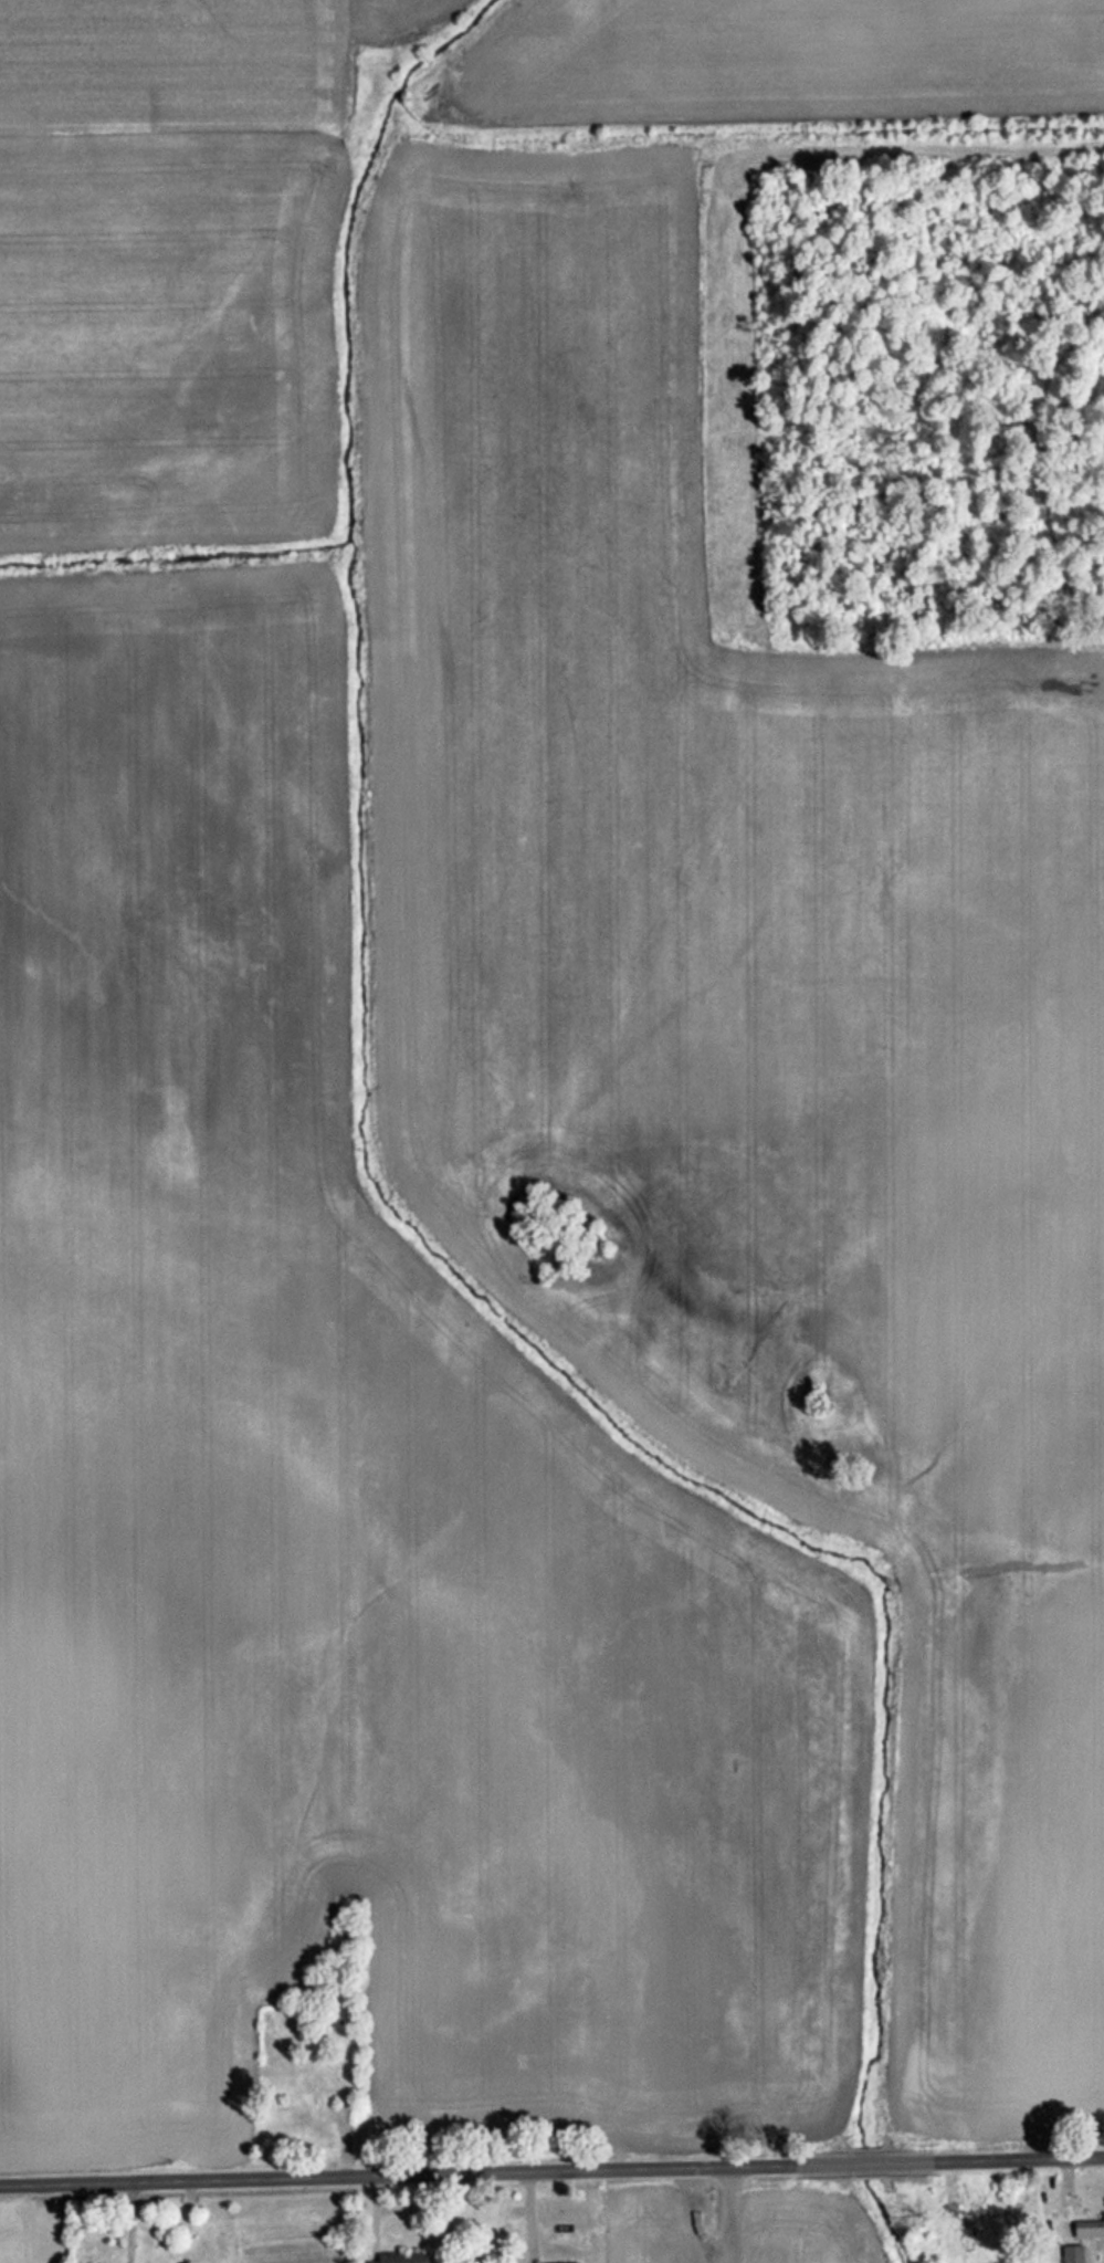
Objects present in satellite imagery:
road: (551, 2169)
road: (724, 2213)
building: (1090, 2229)
building: (1073, 2254)
building: (401, 2257)

